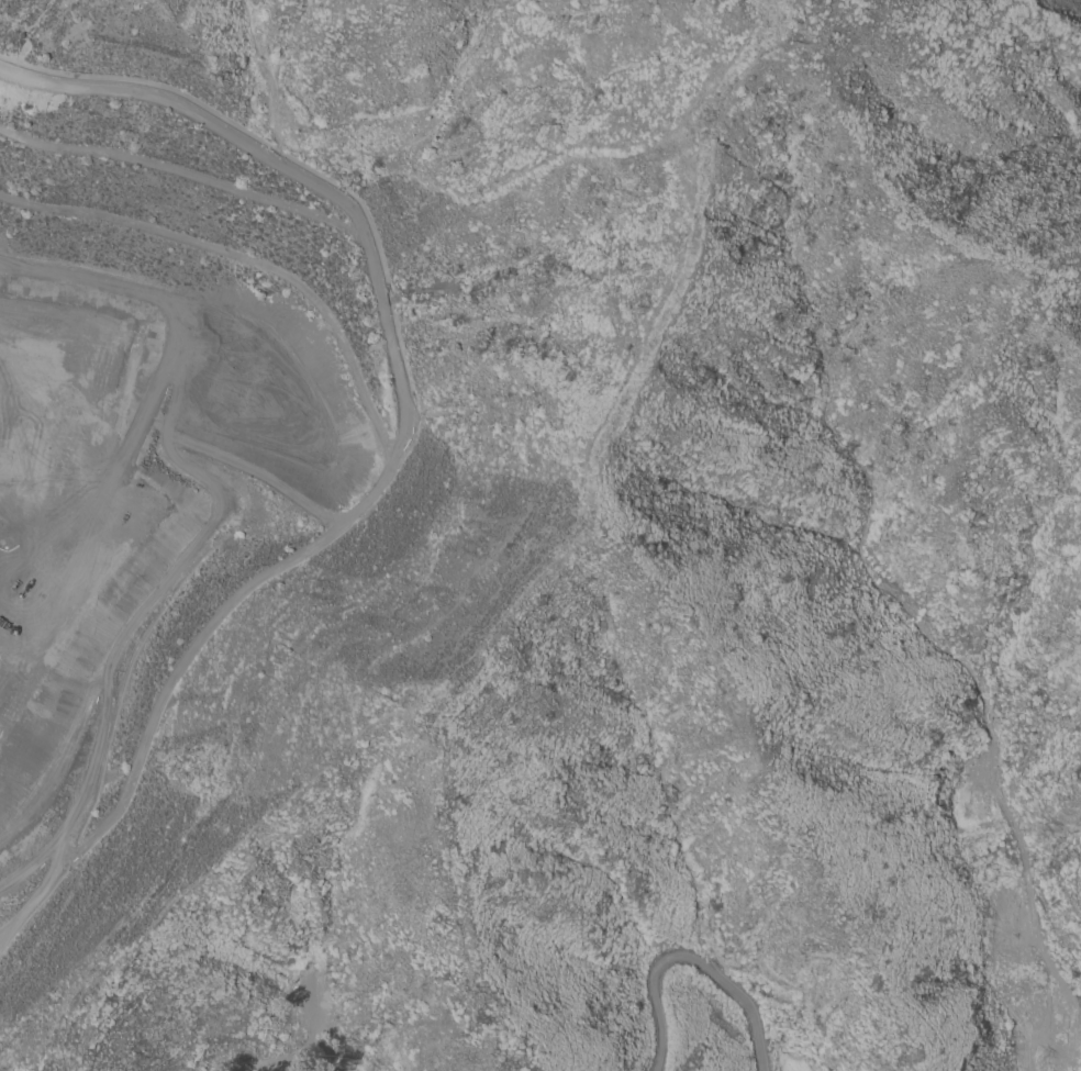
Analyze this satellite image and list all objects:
road: (855, 2)
road: (1023, 20)
landfill: (159, 420)
road: (686, 962)

